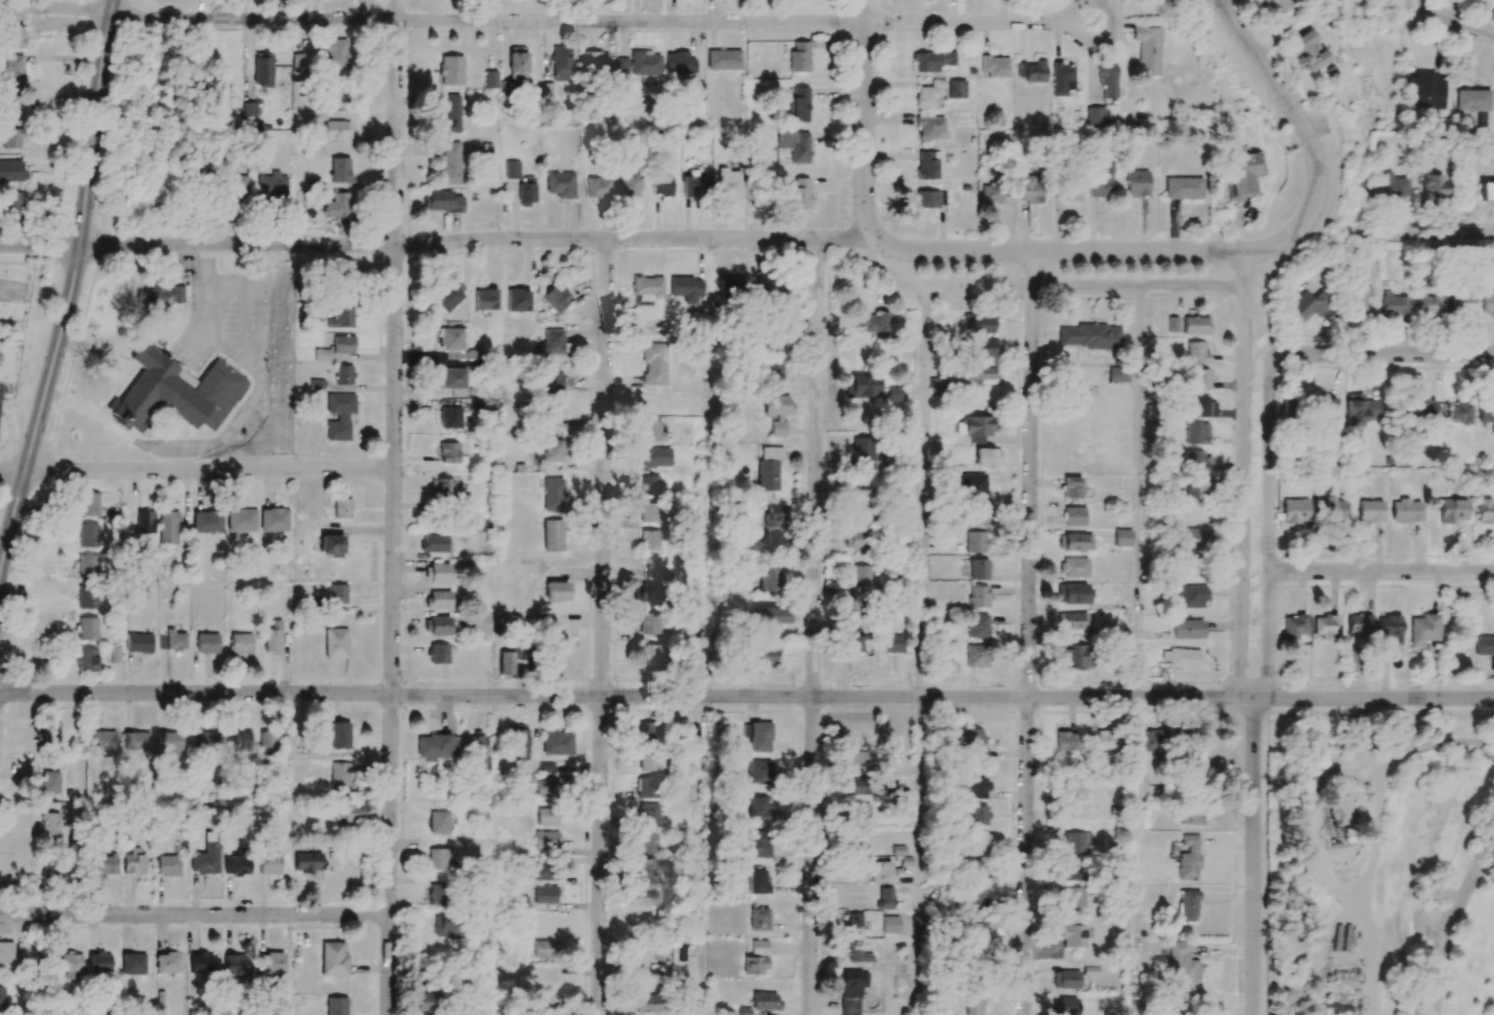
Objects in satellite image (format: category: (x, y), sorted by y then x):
building: (1277, 6)
road: (431, 20)
road: (1453, 21)
road: (980, 22)
building: (13, 37)
building: (1148, 49)
building: (1306, 51)
building: (337, 54)
building: (799, 57)
building: (724, 60)
building: (933, 60)
building: (595, 61)
building: (297, 62)
building: (560, 62)
building: (517, 63)
building: (679, 63)
building: (637, 64)
building: (14, 66)
building: (995, 66)
building: (193, 68)
building: (263, 70)
building: (450, 70)
building: (1031, 71)
building: (1062, 78)
building: (490, 79)
building: (1108, 80)
building: (507, 89)
building: (957, 89)
building: (696, 91)
building: (1425, 92)
building: (928, 94)
building: (1472, 100)
building: (12, 104)
building: (799, 105)
building: (249, 108)
building: (449, 114)
building: (318, 116)
building: (1096, 117)
road: (864, 121)
building: (930, 127)
building: (336, 130)
building: (10, 138)
building: (794, 144)
building: (449, 163)
building: (927, 165)
building: (340, 169)
building: (512, 169)
building: (11, 171)
building: (1244, 173)
building: (1102, 181)
building: (1137, 183)
building: (560, 184)
building: (630, 184)
building: (728, 184)
building: (695, 185)
building: (272, 186)
building: (662, 186)
building: (597, 187)
building: (1383, 187)
building: (237, 188)
building: (1031, 188)
building: (1182, 188)
building: (527, 190)
building: (1070, 190)
building: (1433, 190)
building: (1487, 191)
building: (800, 194)
building: (991, 194)
building: (924, 199)
building: (442, 201)
building: (12, 205)
building: (338, 205)
road: (1421, 232)
road: (434, 242)
road: (1217, 251)
road: (1044, 286)
building: (770, 287)
building: (648, 288)
building: (686, 288)
building: (730, 288)
road: (68, 290)
building: (448, 294)
building: (159, 295)
building: (556, 295)
building: (485, 299)
building: (1361, 301)
building: (518, 302)
building: (1462, 303)
building: (1394, 304)
building: (1488, 304)
building: (1429, 305)
building: (1312, 307)
building: (343, 318)
road: (203, 319)
building: (871, 322)
building: (977, 323)
building: (1172, 324)
building: (1196, 325)
building: (1088, 336)
building: (554, 341)
building: (770, 343)
building: (343, 344)
building: (455, 344)
building: (983, 347)
building: (1196, 352)
building: (321, 354)
road: (1383, 354)
building: (654, 363)
road: (254, 365)
building: (772, 371)
building: (344, 374)
building: (1117, 374)
building: (982, 375)
building: (453, 378)
building: (1199, 379)
building: (551, 384)
building: (936, 385)
building: (861, 386)
building: (176, 392)
building: (894, 394)
building: (1078, 396)
building: (1327, 404)
building: (1289, 405)
building: (1200, 407)
building: (1361, 408)
building: (1423, 408)
building: (1486, 411)
building: (777, 412)
building: (1458, 412)
building: (551, 414)
building: (339, 415)
building: (450, 417)
road: (106, 423)
building: (976, 427)
building: (652, 431)
building: (1196, 433)
building: (550, 451)
building: (449, 452)
building: (862, 452)
building: (656, 457)
building: (988, 457)
building: (1196, 461)
building: (769, 467)
road: (196, 470)
road: (1242, 476)
building: (970, 483)
building: (652, 485)
building: (1072, 487)
building: (1195, 487)
building: (441, 489)
road: (921, 490)
road: (1137, 491)
building: (552, 494)
building: (865, 501)
building: (88, 504)
road: (392, 507)
building: (339, 509)
building: (1452, 510)
building: (1295, 511)
building: (1370, 511)
building: (1406, 511)
building: (1485, 511)
building: (650, 512)
building: (1334, 512)
building: (1197, 513)
building: (976, 514)
building: (1074, 516)
building: (241, 520)
building: (274, 520)
building: (145, 522)
building: (208, 522)
building: (169, 527)
building: (552, 535)
building: (89, 536)
building: (1122, 538)
building: (1195, 538)
building: (649, 540)
building: (856, 540)
building: (975, 542)
building: (1075, 542)
building: (435, 543)
building: (331, 545)
building: (88, 566)
building: (1074, 567)
building: (978, 569)
road: (1381, 572)
building: (436, 573)
building: (860, 576)
building: (769, 578)
building: (557, 591)
building: (646, 592)
building: (338, 594)
building: (1073, 594)
building: (978, 596)
building: (88, 597)
building: (1191, 597)
building: (438, 599)
building: (773, 616)
building: (1073, 620)
building: (479, 623)
building: (649, 623)
building: (1359, 623)
building: (976, 625)
building: (1325, 625)
building: (436, 626)
road: (602, 626)
building: (1294, 626)
road: (813, 627)
building: (87, 628)
building: (1187, 629)
building: (1423, 629)
building: (1390, 630)
road: (1028, 633)
building: (273, 637)
building: (175, 640)
building: (138, 643)
building: (207, 643)
building: (241, 643)
building: (335, 643)
building: (853, 644)
building: (891, 644)
building: (1485, 647)
building: (554, 648)
building: (437, 653)
building: (654, 655)
building: (766, 655)
building: (976, 656)
building: (1075, 656)
building: (1180, 658)
building: (1352, 658)
building: (86, 660)
building: (505, 662)
road: (1261, 686)
road: (746, 696)
building: (53, 732)
building: (647, 732)
building: (694, 733)
building: (339, 735)
building: (756, 736)
building: (240, 739)
building: (103, 740)
building: (1104, 740)
building: (1151, 740)
building: (136, 741)
building: (203, 741)
building: (1065, 741)
building: (519, 742)
building: (973, 742)
building: (267, 743)
building: (557, 743)
building: (169, 744)
building: (435, 746)
building: (478, 750)
building: (651, 761)
building: (859, 761)
building: (546, 767)
building: (758, 772)
building: (339, 777)
building: (49, 782)
building: (856, 786)
building: (1073, 786)
building: (647, 787)
building: (975, 788)
building: (547, 789)
building: (758, 808)
building: (343, 813)
building: (858, 813)
building: (647, 814)
building: (978, 815)
building: (547, 816)
building: (1190, 816)
building: (438, 823)
building: (50, 824)
building: (547, 839)
building: (857, 840)
building: (647, 842)
building: (1076, 842)
building: (977, 843)
building: (757, 844)
building: (206, 856)
road: (916, 856)
building: (1188, 857)
building: (436, 859)
building: (133, 861)
building: (306, 862)
building: (268, 863)
building: (105, 864)
building: (167, 865)
building: (236, 865)
building: (646, 867)
building: (1073, 869)
building: (974, 870)
building: (544, 871)
building: (882, 872)
building: (49, 873)
building: (757, 881)
building: (435, 894)
building: (546, 894)
building: (975, 897)
building: (1073, 897)
building: (638, 898)
building: (885, 898)
building: (1188, 906)
road: (194, 915)
building: (759, 919)
building: (854, 922)
building: (976, 923)
road: (1450, 923)
building: (890, 924)
building: (544, 925)
building: (447, 926)
building: (1073, 935)
building: (1336, 937)
building: (758, 947)
building: (545, 949)
building: (6, 952)
building: (857, 952)
building: (645, 954)
building: (333, 958)
building: (99, 962)
building: (167, 962)
building: (200, 962)
building: (269, 963)
building: (69, 964)
building: (133, 964)
building: (232, 965)
building: (755, 965)
building: (1182, 966)
building: (1067, 979)
building: (852, 990)
building: (2, 997)
building: (765, 1001)
building: (425, 1002)
building: (549, 1003)
building: (646, 1003)
building: (973, 1003)
building: (336, 1006)
building: (1065, 1006)

